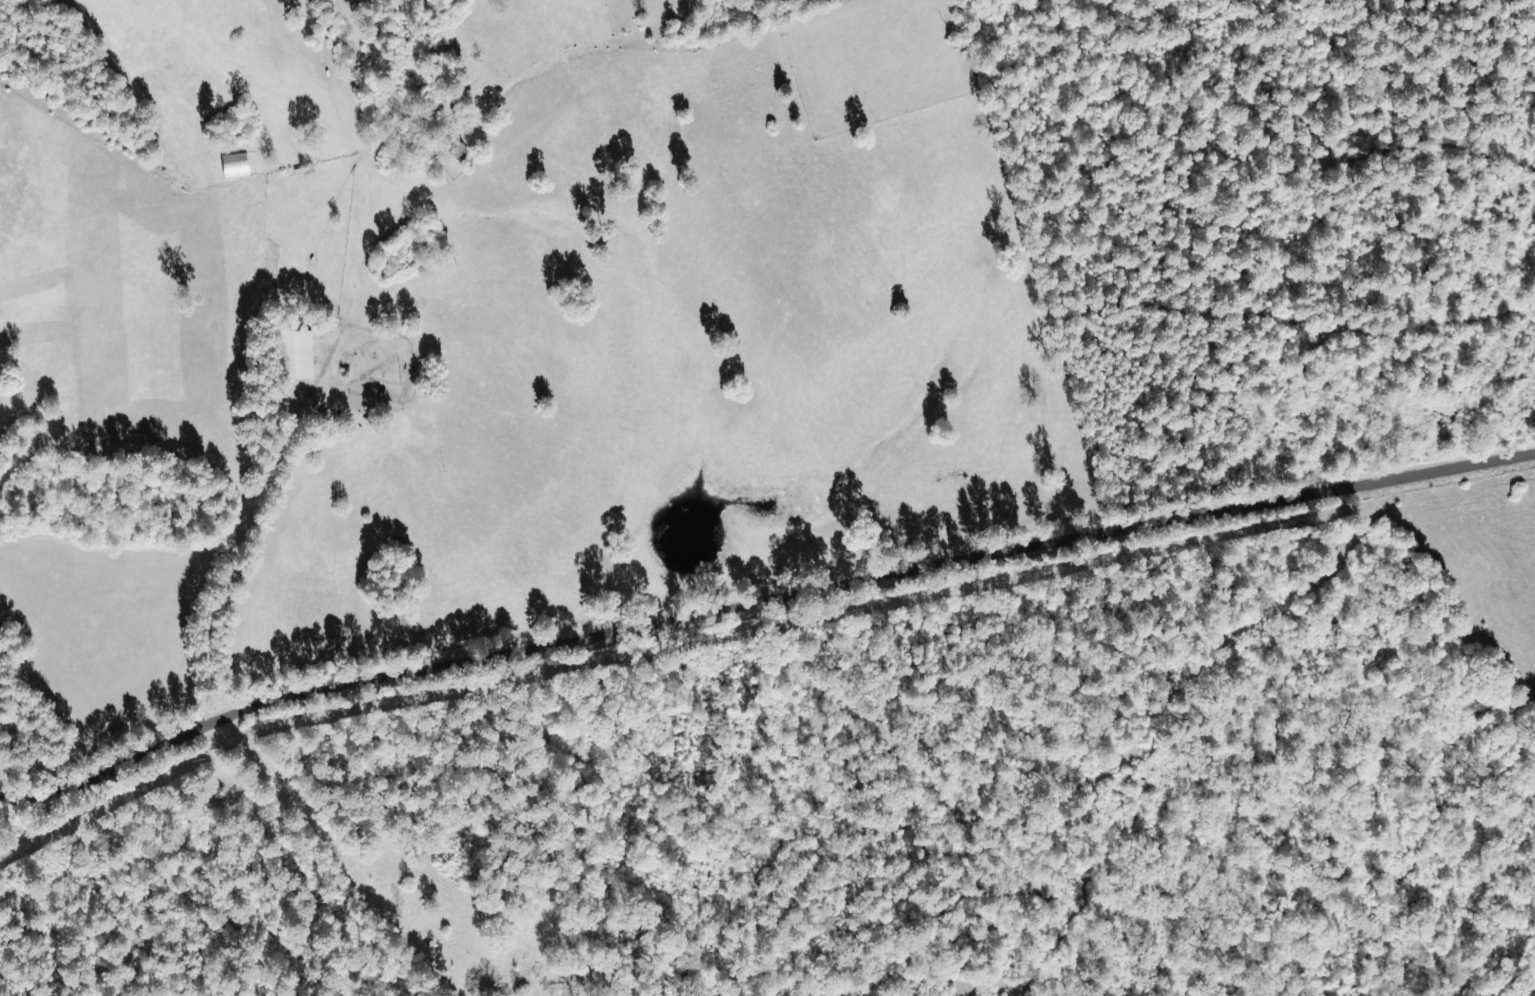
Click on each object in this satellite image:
building: (456, 153)
building: (293, 355)
road: (288, 392)
road: (757, 619)

